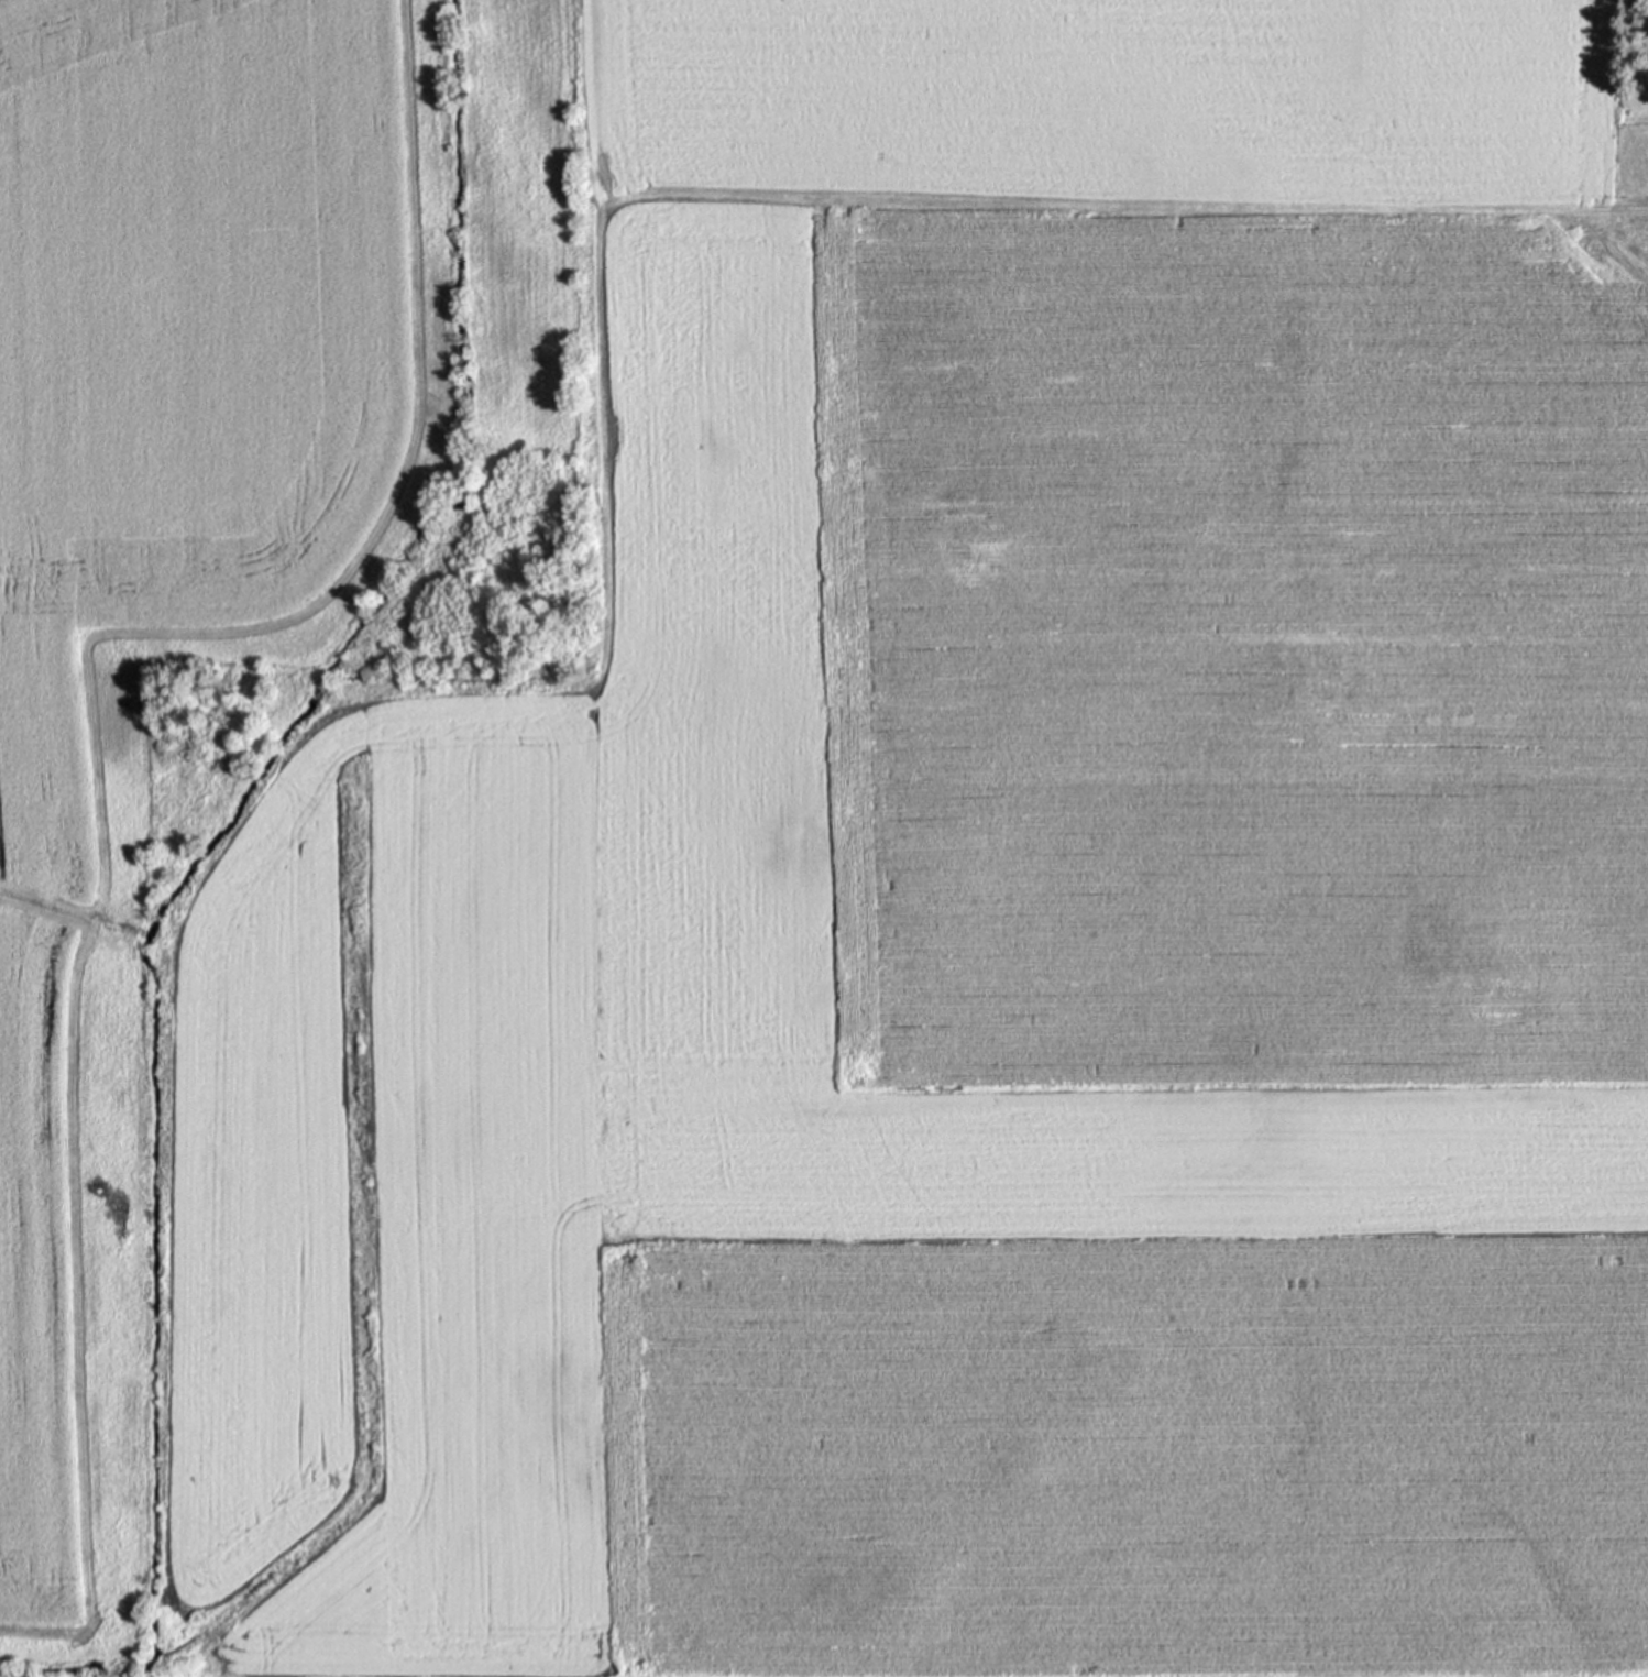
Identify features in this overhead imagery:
road: (1212, 207)

